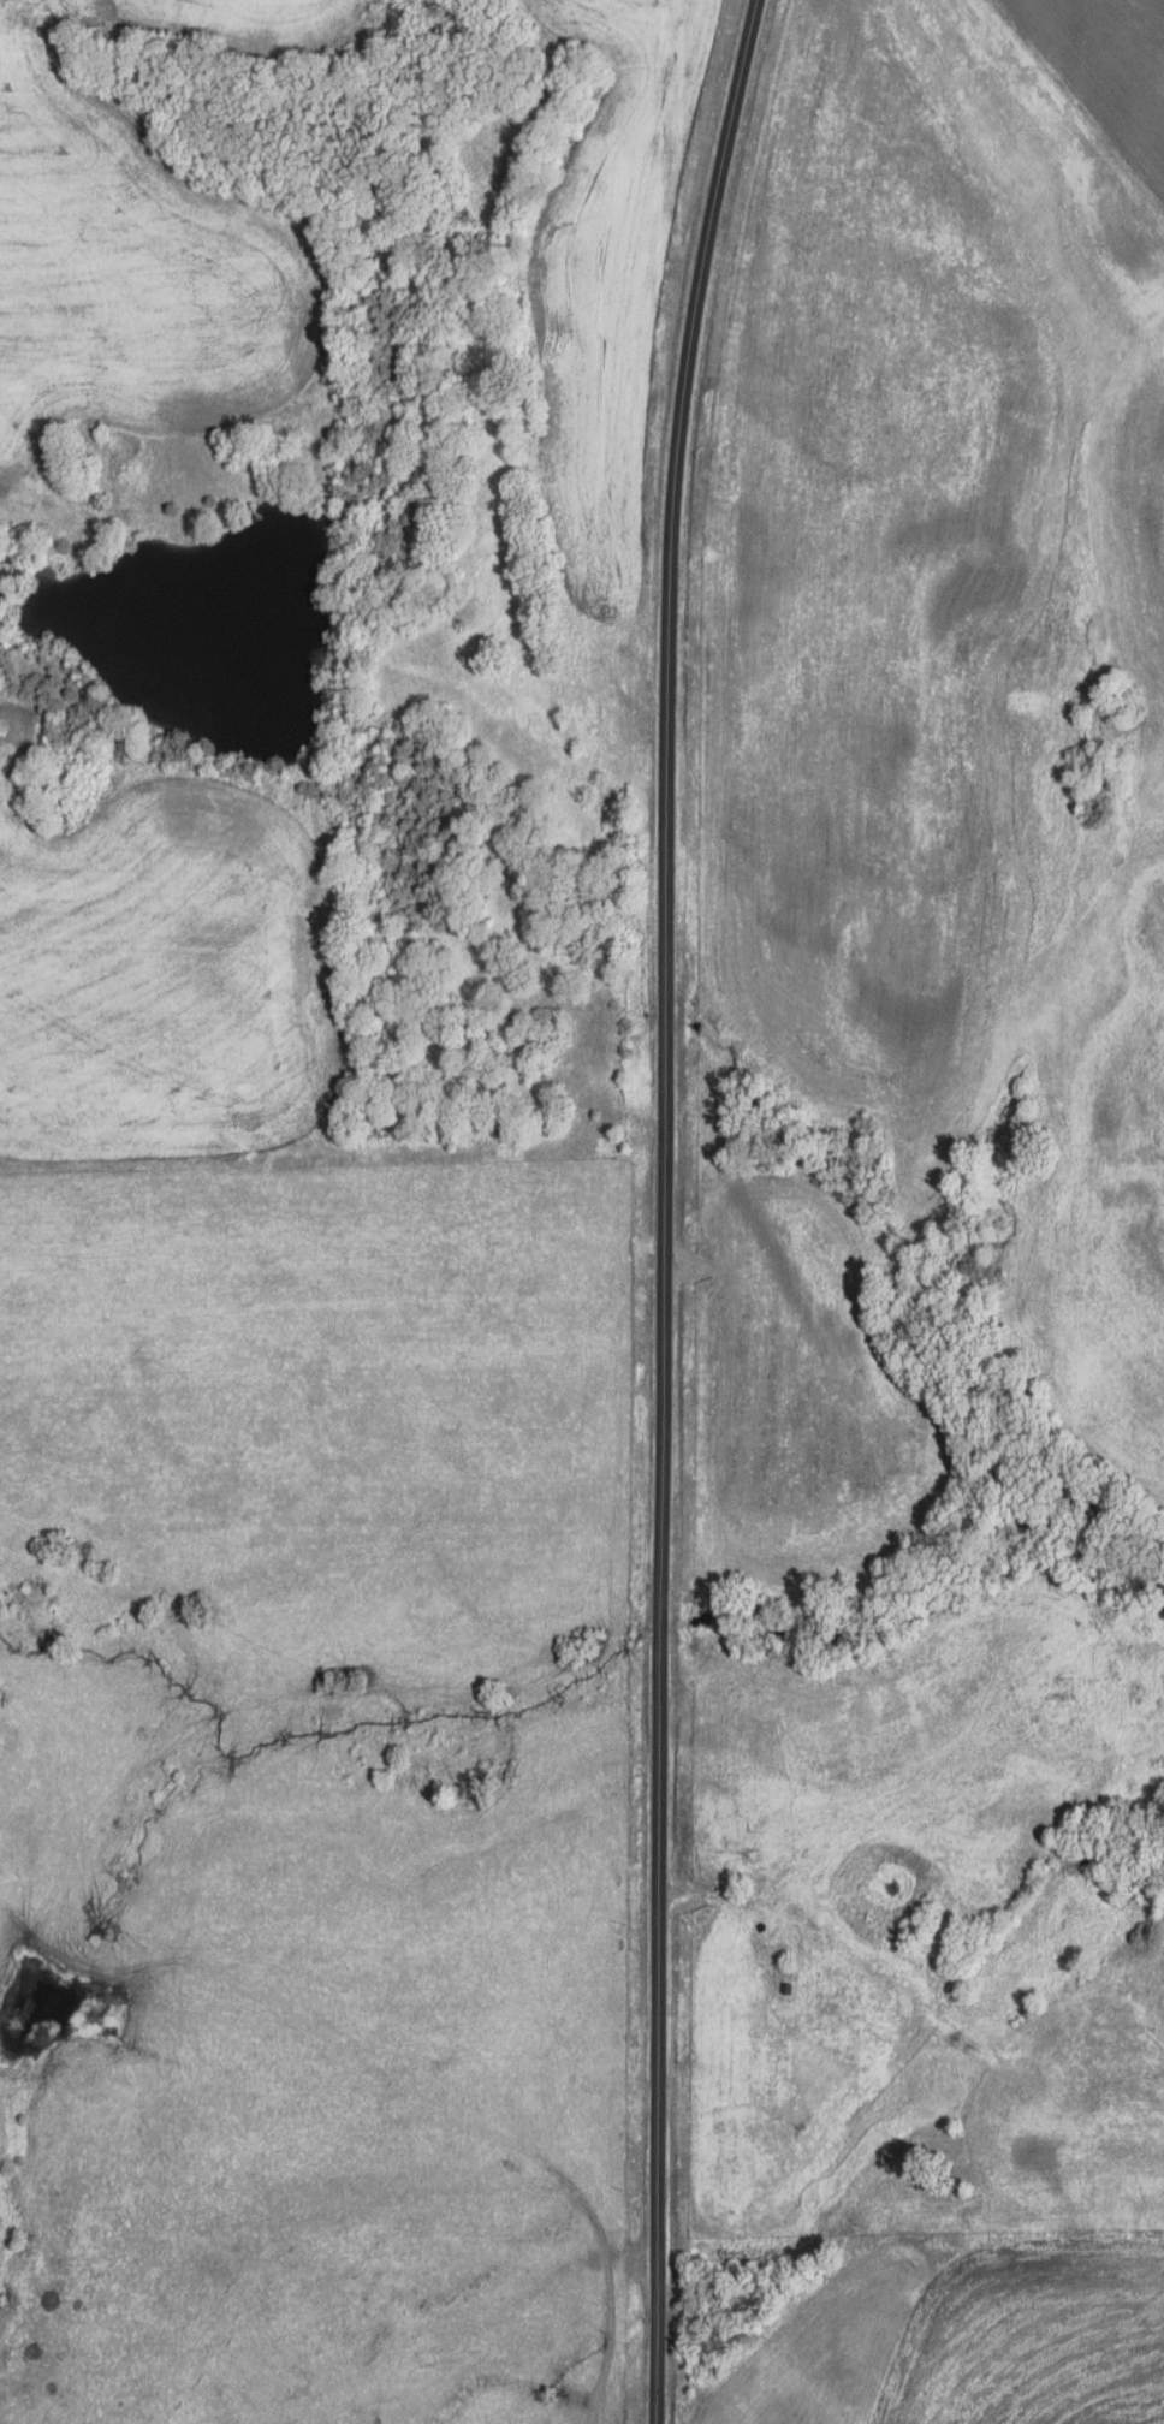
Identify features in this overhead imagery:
road: (666, 1207)

